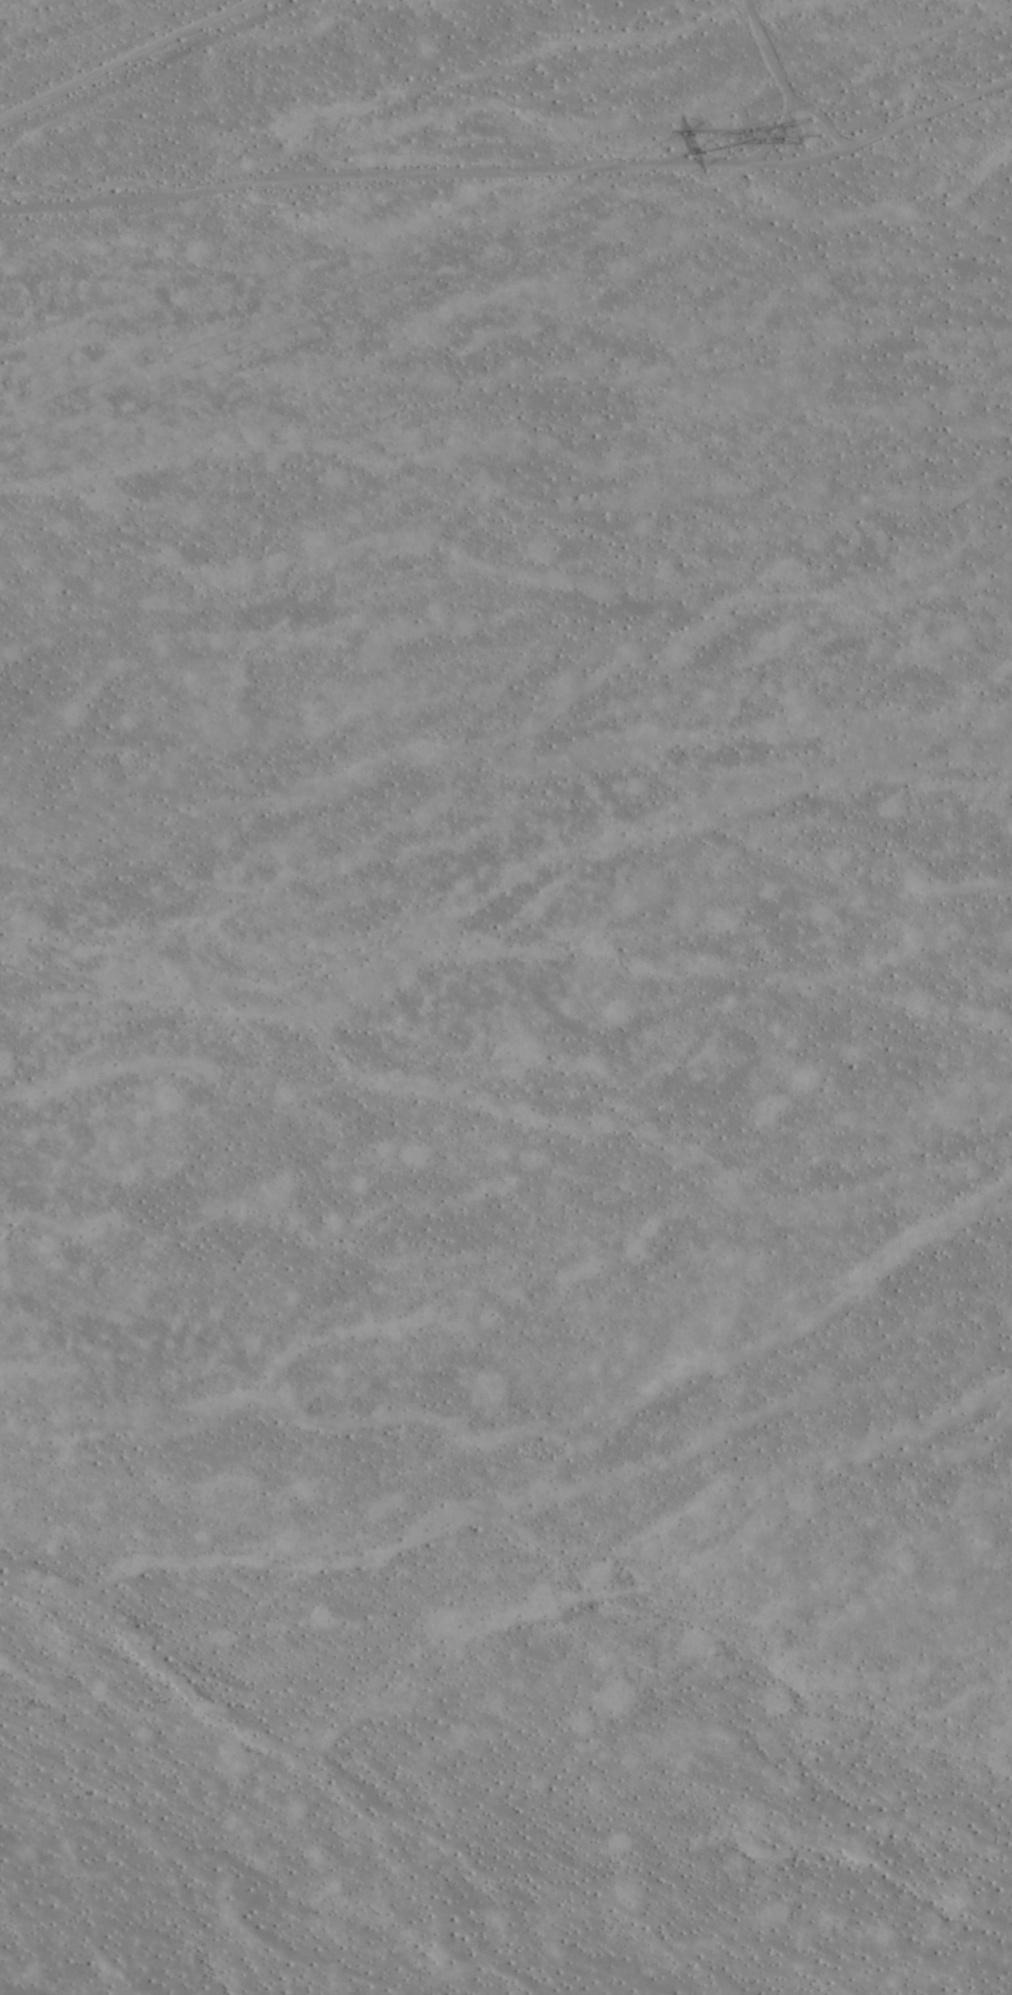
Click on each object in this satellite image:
road: (161, 72)
power tower: (815, 135)
road: (513, 182)

